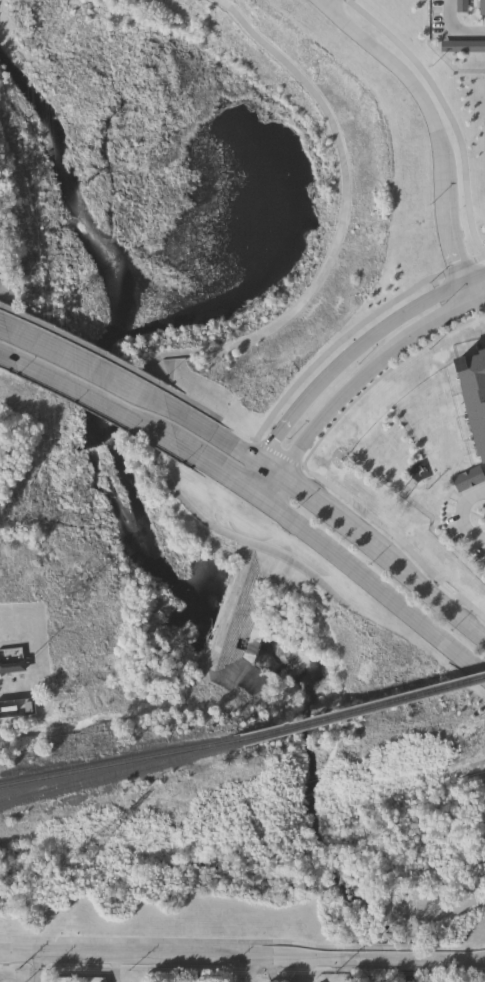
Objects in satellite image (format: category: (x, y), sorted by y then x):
road: (329, 2)
building: (484, 6)
road: (451, 31)
road: (446, 110)
road: (437, 131)
road: (434, 282)
road: (438, 292)
road: (442, 301)
road: (481, 301)
road: (449, 312)
power tower: (59, 314)
road: (444, 320)
road: (457, 322)
road: (3, 326)
road: (354, 328)
road: (380, 329)
road: (236, 344)
road: (62, 353)
road: (8, 355)
road: (381, 376)
road: (92, 394)
road: (143, 394)
building: (473, 395)
road: (338, 400)
road: (213, 435)
road: (276, 436)
road: (253, 439)
road: (277, 454)
road: (214, 468)
road: (269, 470)
road: (306, 471)
road: (250, 475)
building: (469, 477)
road: (272, 489)
road: (462, 514)
road: (331, 516)
road: (478, 539)
road: (403, 544)
road: (375, 588)
power tower: (76, 595)
road: (434, 598)
building: (13, 665)
railway: (388, 703)
building: (19, 707)
railway: (264, 736)
railway: (266, 737)
power tower: (465, 745)
railway: (118, 763)
railway: (120, 775)
power tower: (89, 853)
road: (177, 941)
road: (385, 948)
road: (450, 948)
road: (177, 955)
road: (386, 957)
road: (451, 958)
road: (35, 967)
road: (246, 969)
building: (195, 981)

